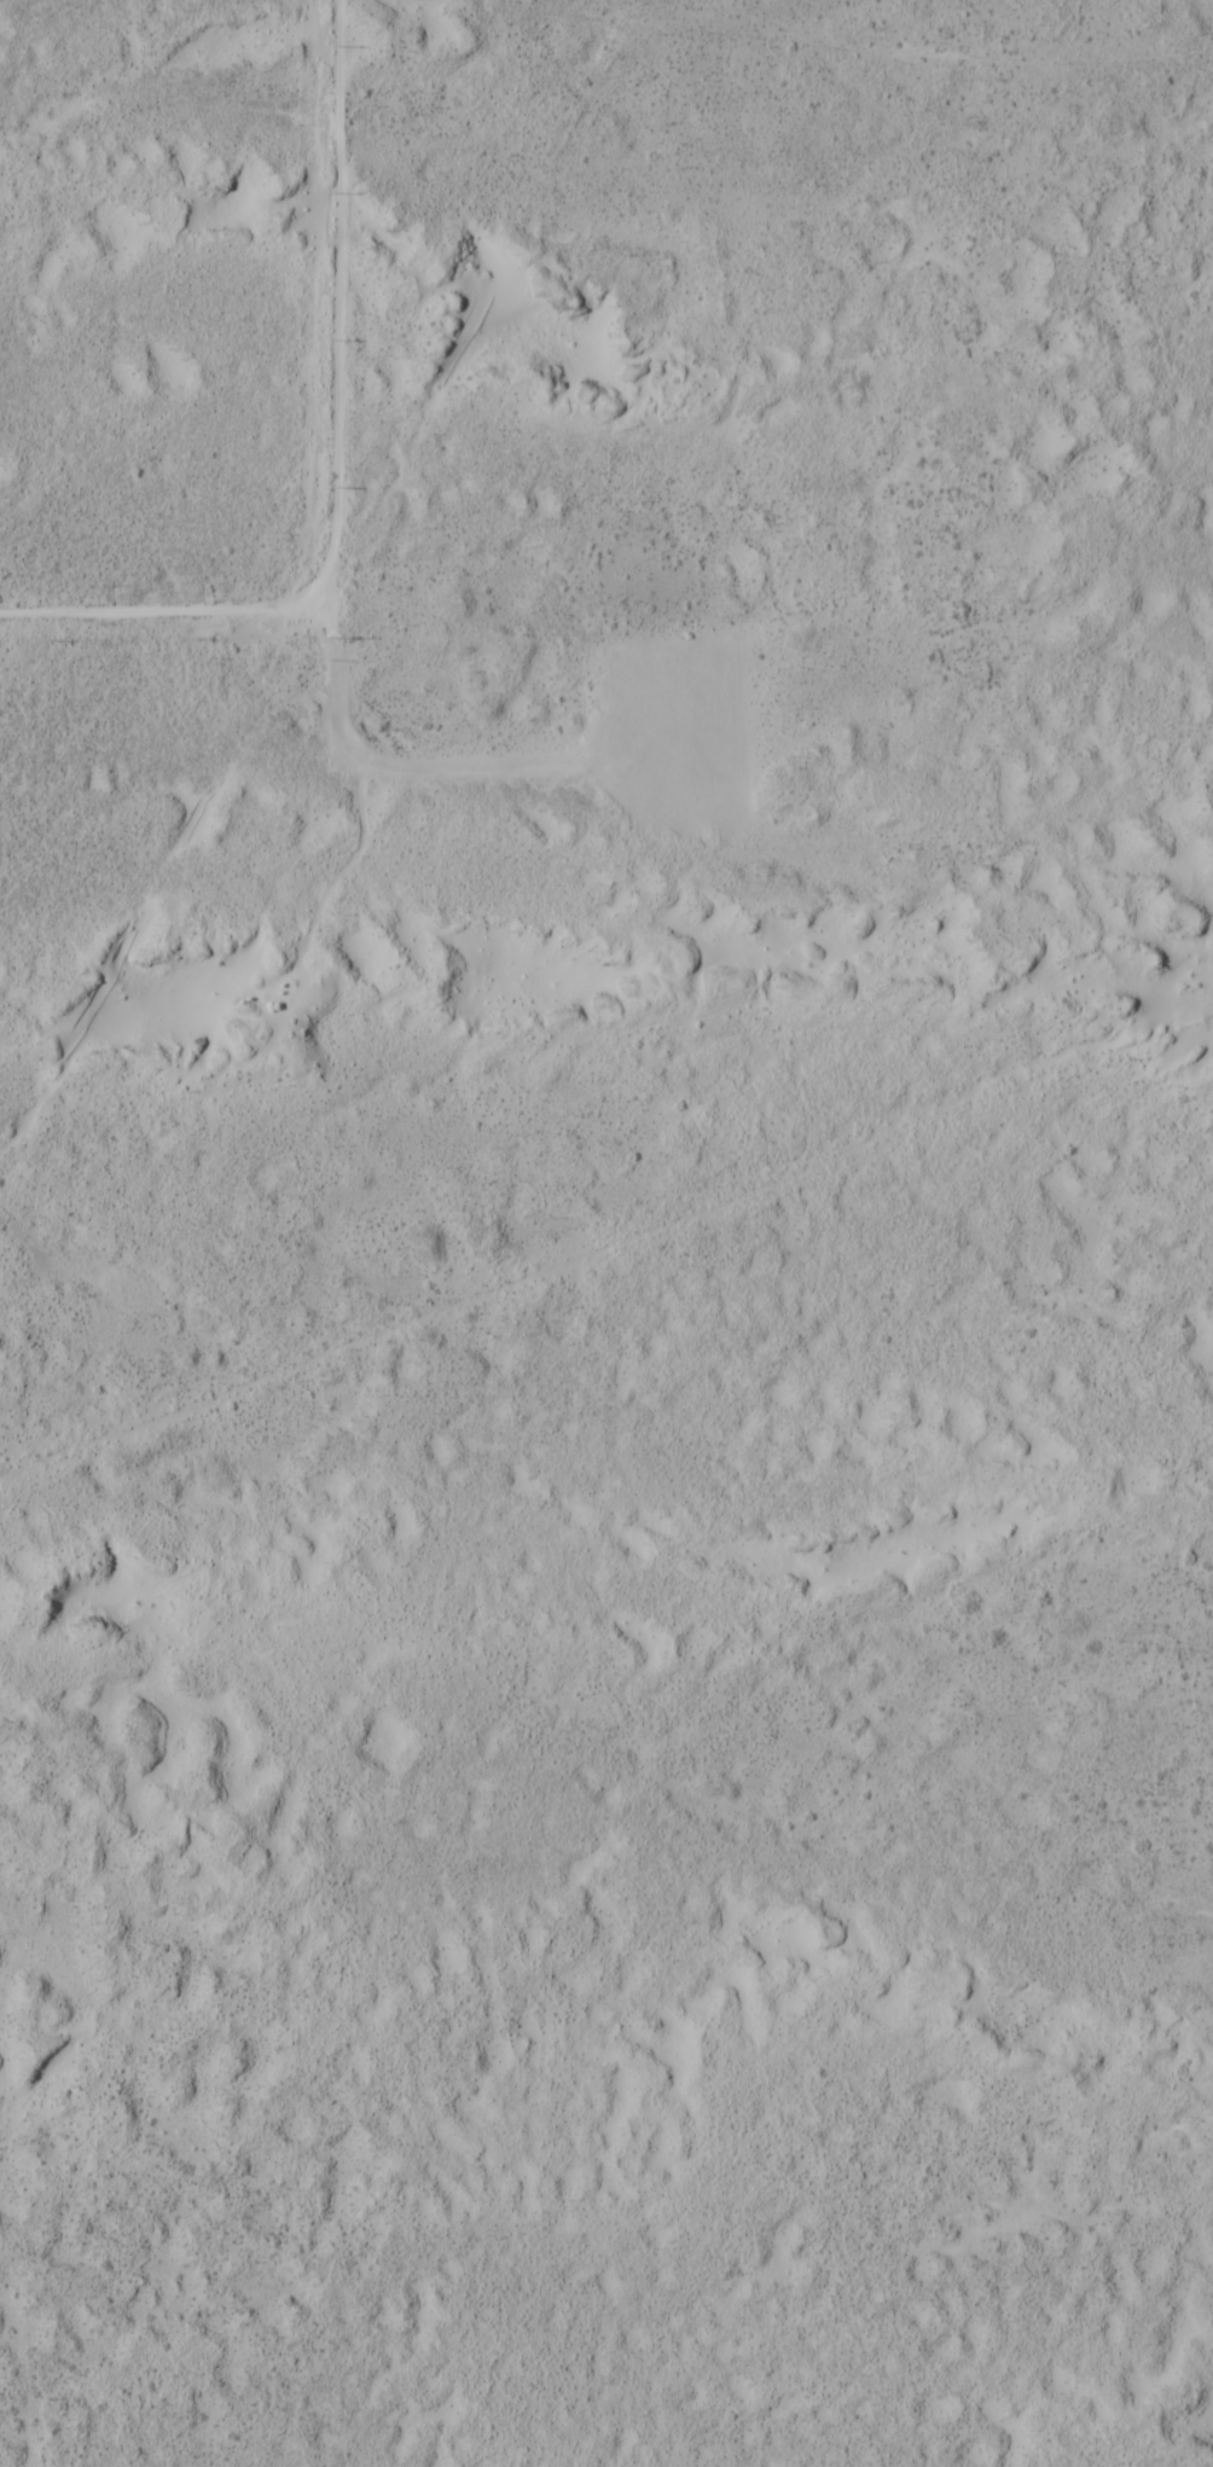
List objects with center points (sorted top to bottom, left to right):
road: (342, 567)
road: (174, 614)

